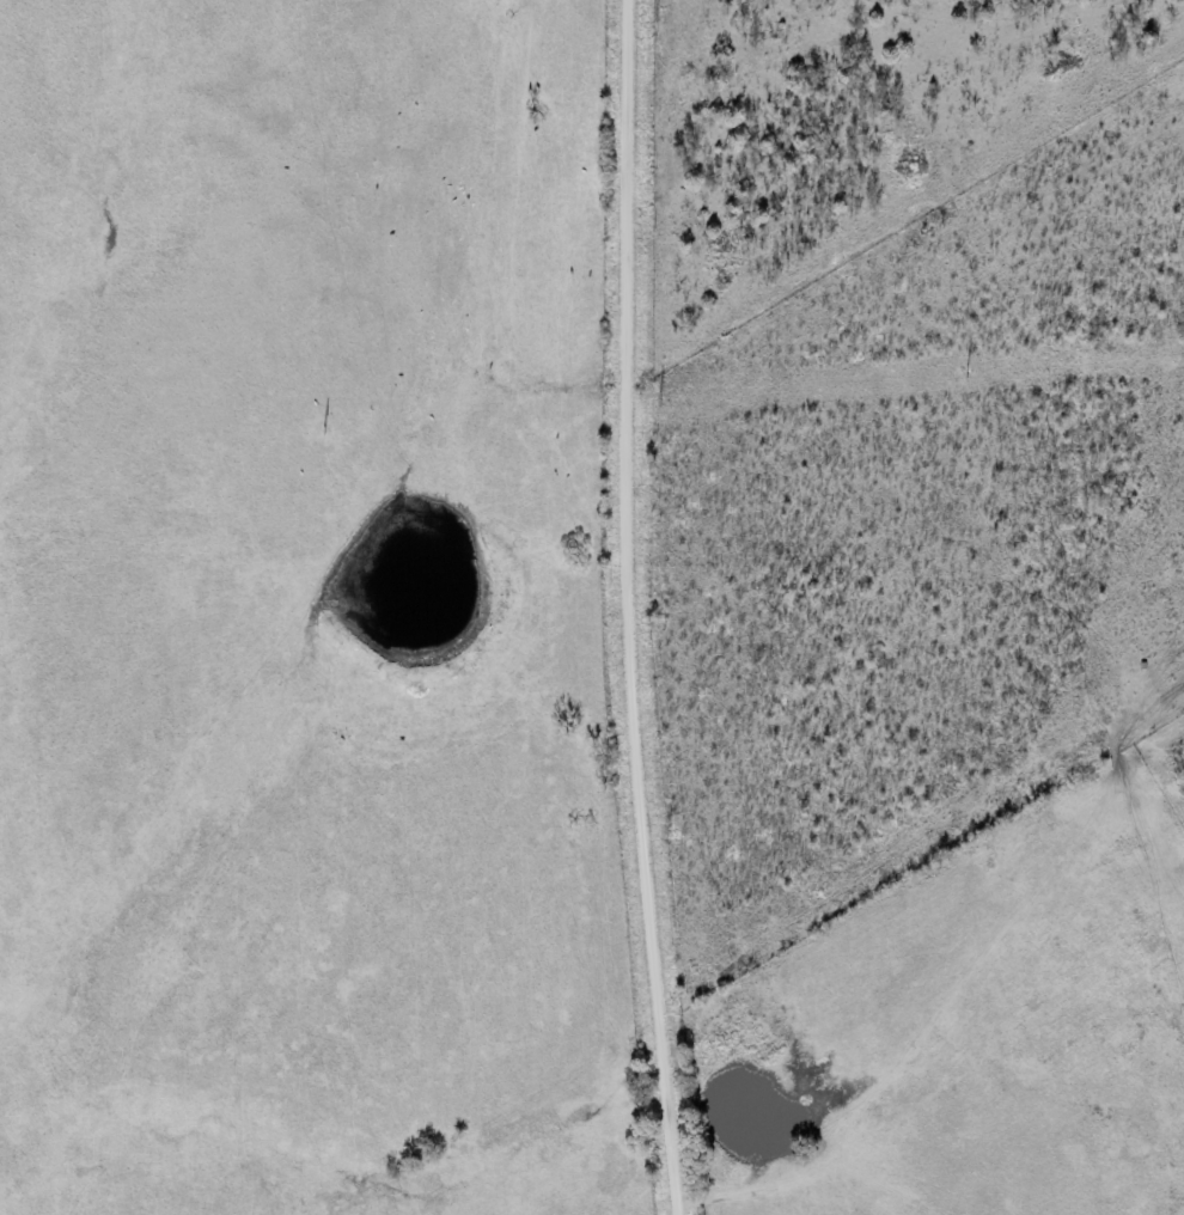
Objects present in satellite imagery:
power tower: (965, 376)
power tower: (660, 401)
power tower: (325, 429)
road: (635, 607)

